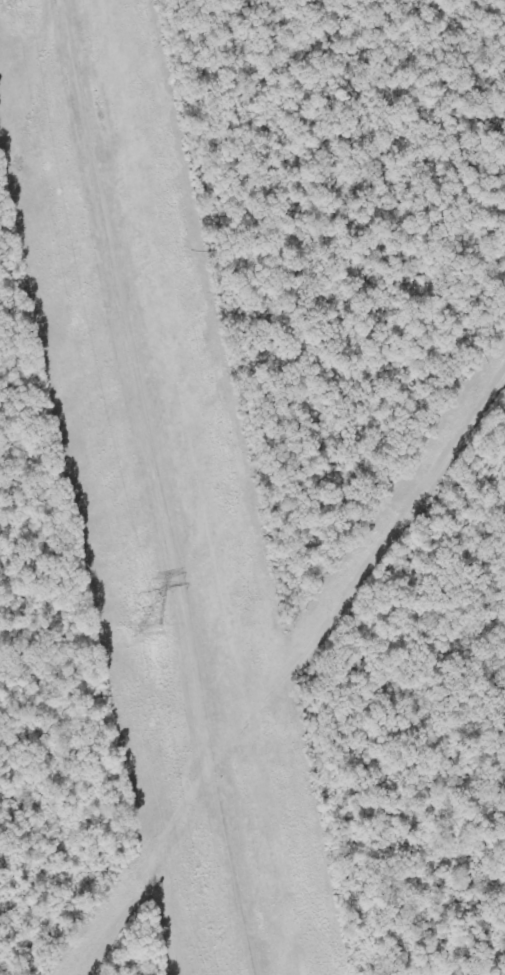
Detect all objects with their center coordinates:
railway: (359, 487)
power tower: (150, 626)

